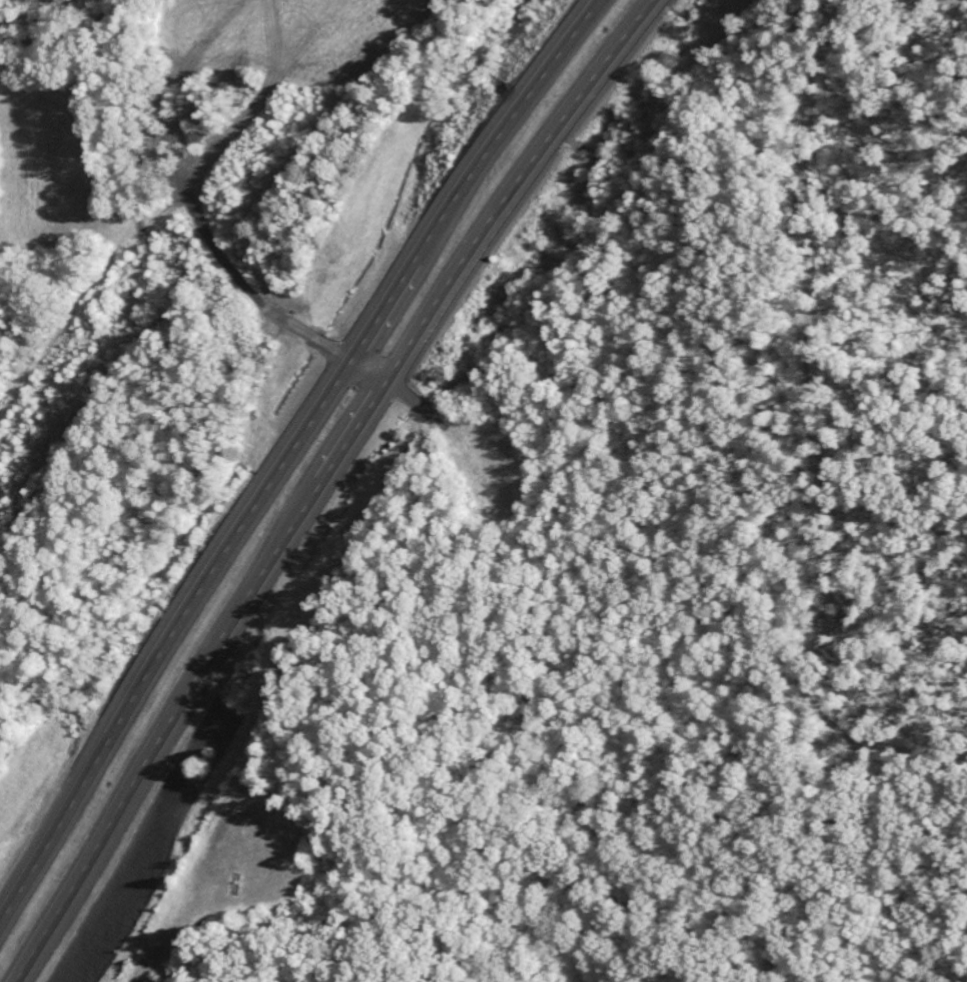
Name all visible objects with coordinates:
road: (367, 371)
road: (290, 450)
road: (319, 482)

